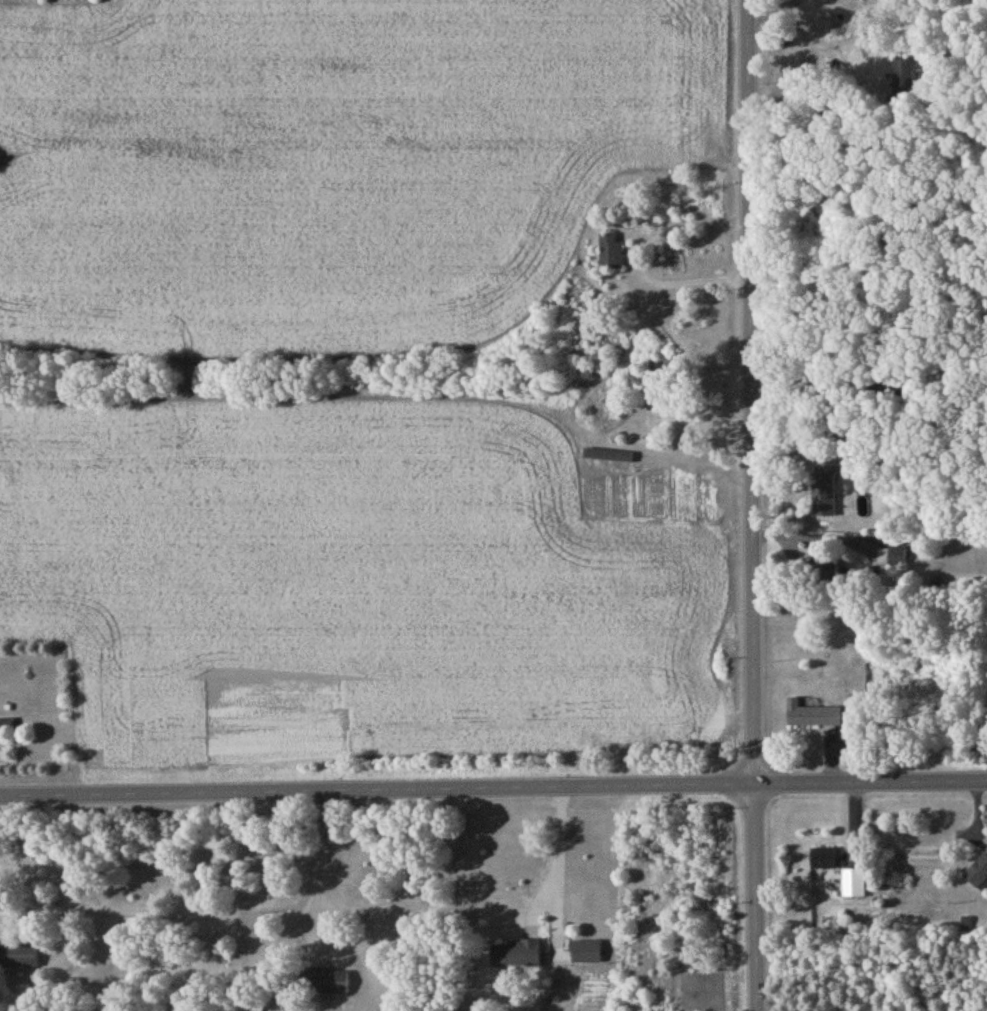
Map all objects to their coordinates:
building: (819, 2)
building: (914, 79)
road: (636, 242)
building: (611, 254)
road: (816, 356)
building: (823, 497)
road: (750, 505)
road: (812, 526)
building: (897, 561)
building: (823, 565)
building: (812, 717)
building: (6, 726)
road: (493, 790)
road: (555, 854)
road: (321, 874)
building: (979, 877)
building: (854, 884)
building: (516, 957)
building: (18, 959)
building: (324, 983)

